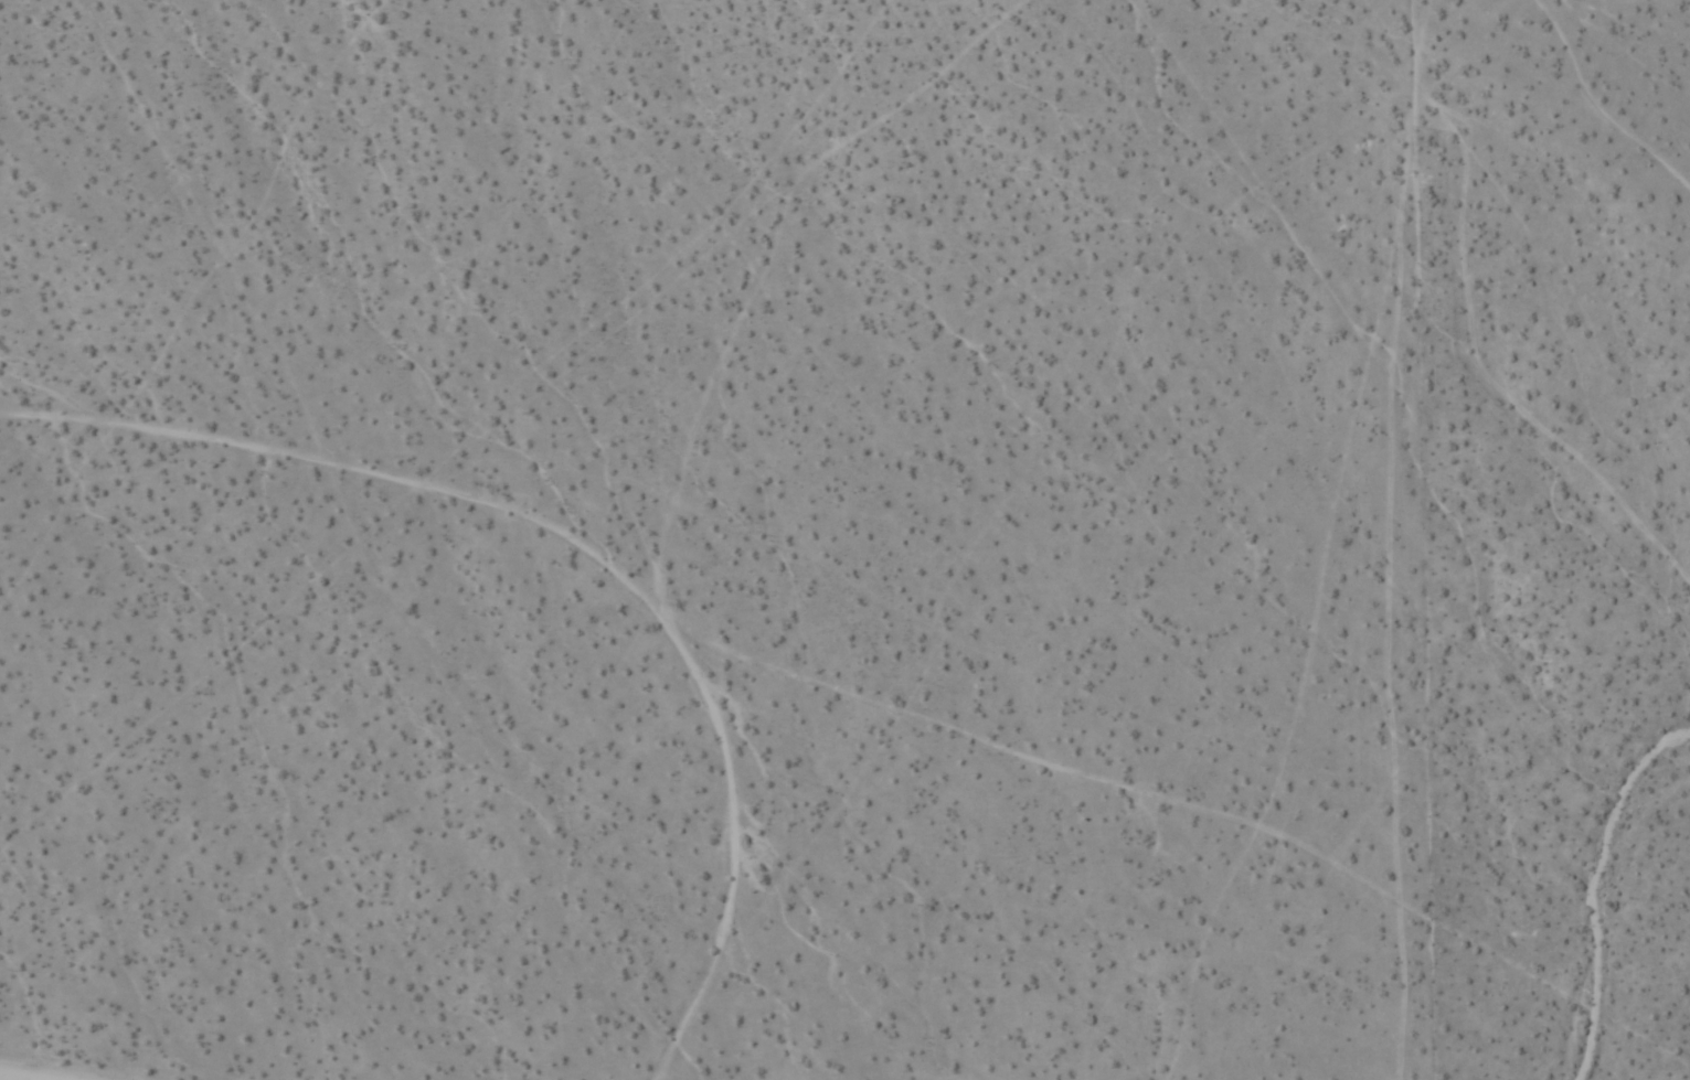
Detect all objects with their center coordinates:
crop: (844, 539)
road: (580, 550)
park: (1508, 993)

